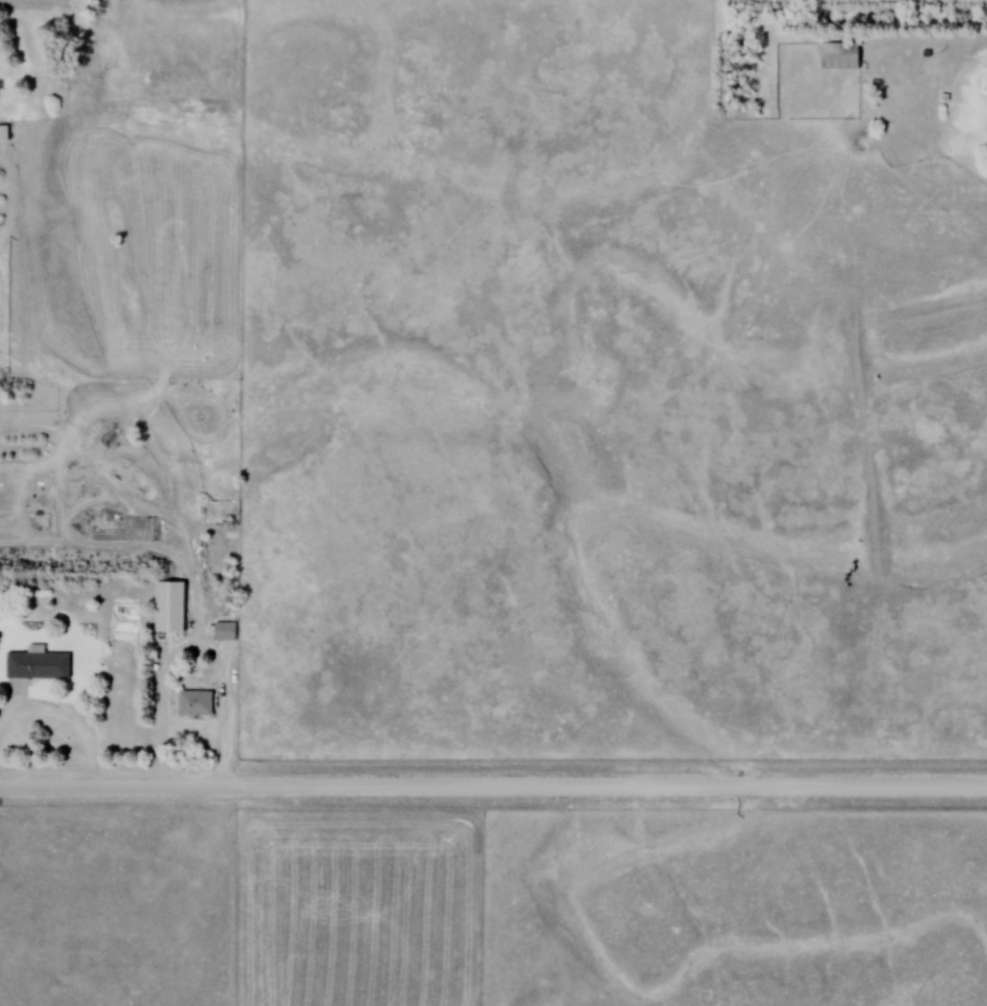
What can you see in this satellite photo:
building: (840, 55)
building: (227, 533)
road: (24, 553)
building: (171, 606)
building: (224, 631)
building: (37, 664)
building: (201, 702)
road: (70, 713)
road: (219, 719)
road: (493, 786)

